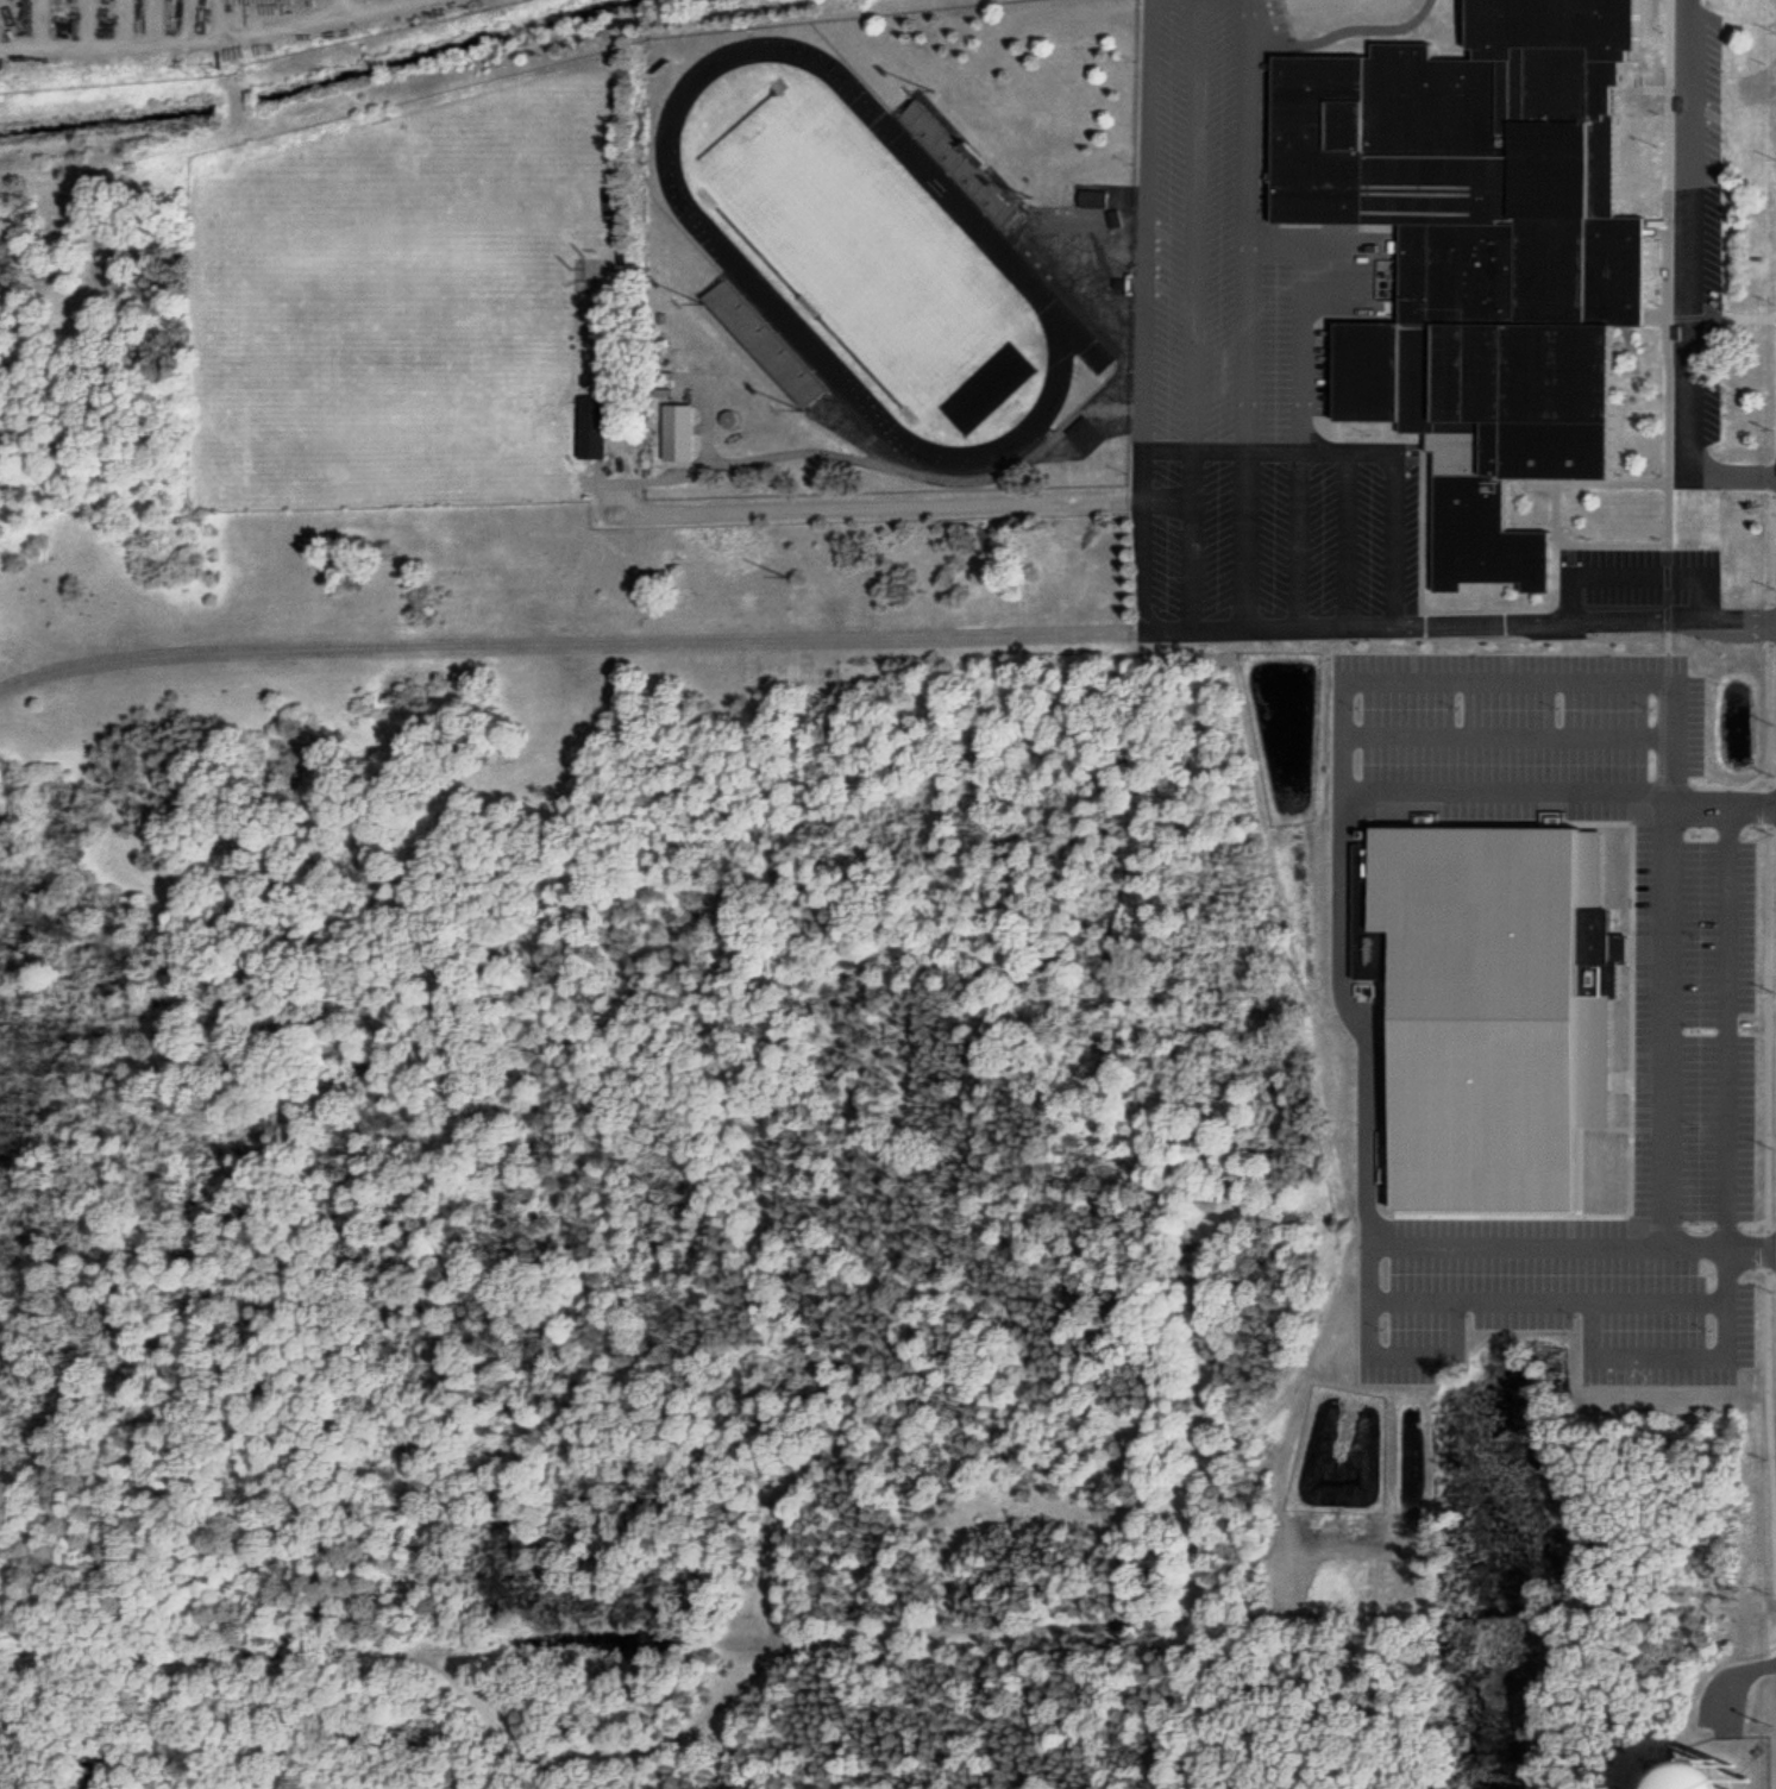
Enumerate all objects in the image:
road: (1235, 1)
road: (1342, 31)
building: (962, 162)
building: (1482, 243)
park: (862, 249)
track: (735, 264)
road: (1692, 277)
road: (1144, 312)
road: (1192, 313)
road: (1247, 313)
building: (768, 341)
road: (1300, 412)
building: (590, 423)
building: (677, 426)
road: (1351, 451)
road: (860, 504)
road: (1347, 538)
road: (1639, 575)
road: (1461, 623)
road: (571, 640)
road: (1508, 680)
road: (1506, 733)
road: (1557, 801)
building: (1482, 1009)
road: (1673, 1025)
road: (1722, 1027)
road: (1363, 1223)
road: (1364, 1273)
road: (1446, 1301)
road: (1682, 1355)
building: (1643, 1770)

